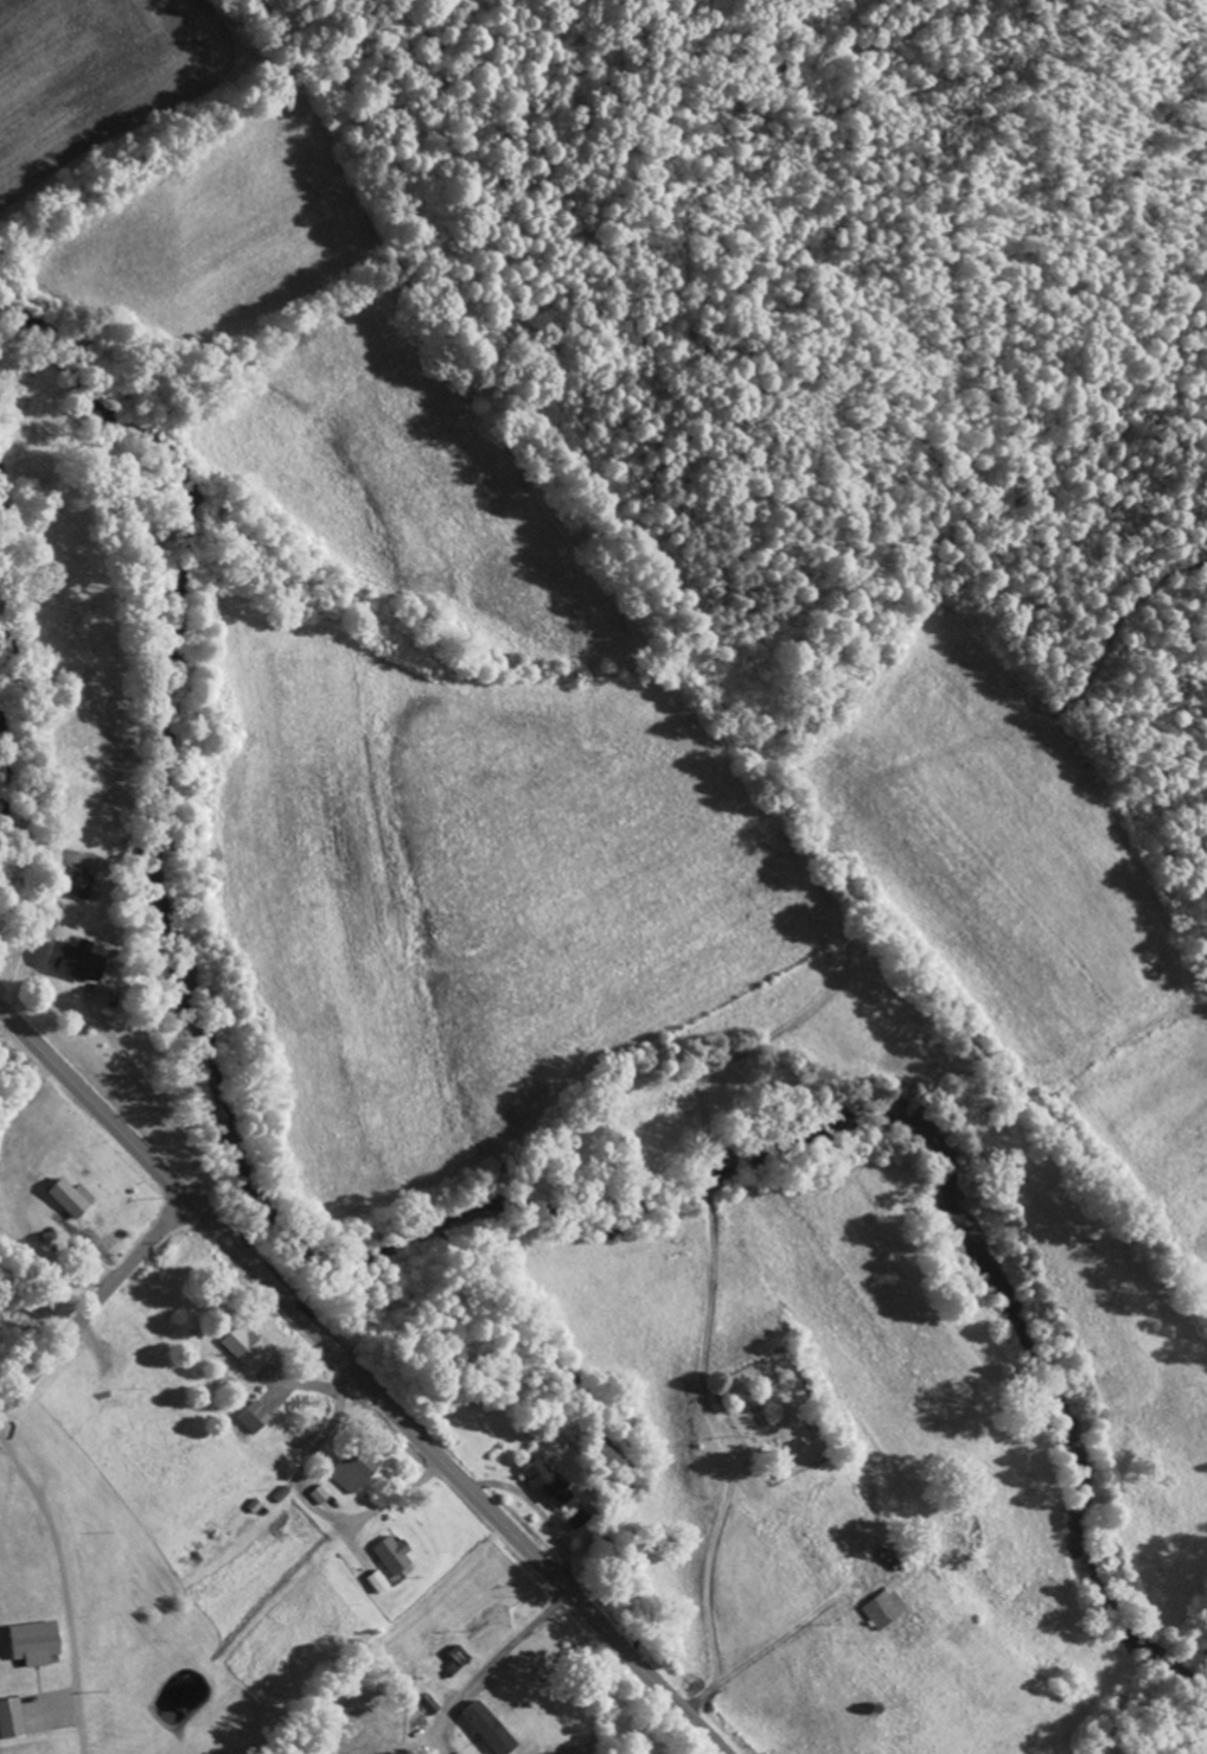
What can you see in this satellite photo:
building: (84, 888)
building: (74, 1201)
road: (95, 1310)
building: (248, 1353)
road: (359, 1382)
building: (256, 1421)
building: (357, 1474)
building: (545, 1486)
building: (321, 1498)
building: (581, 1519)
building: (395, 1557)
building: (883, 1613)
building: (39, 1645)
building: (13, 1721)
building: (490, 1730)

